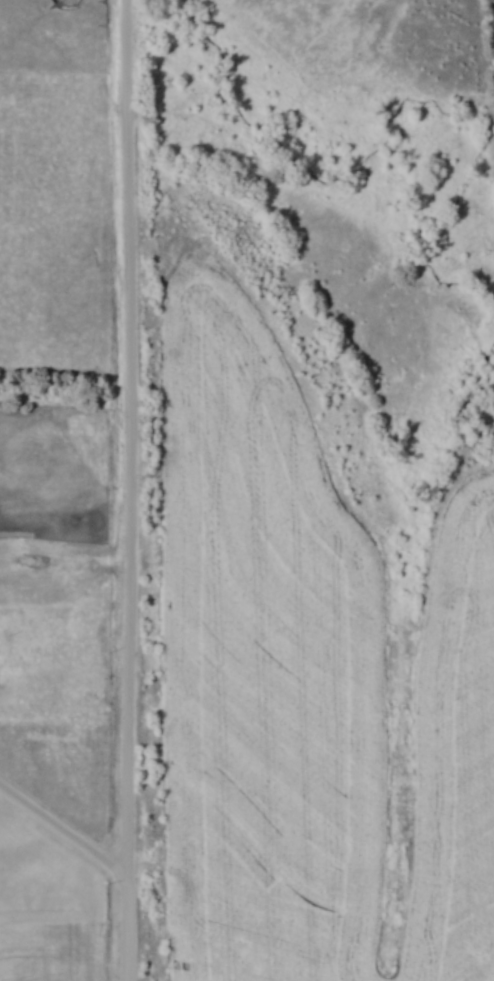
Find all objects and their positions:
road: (135, 490)
road: (64, 832)

